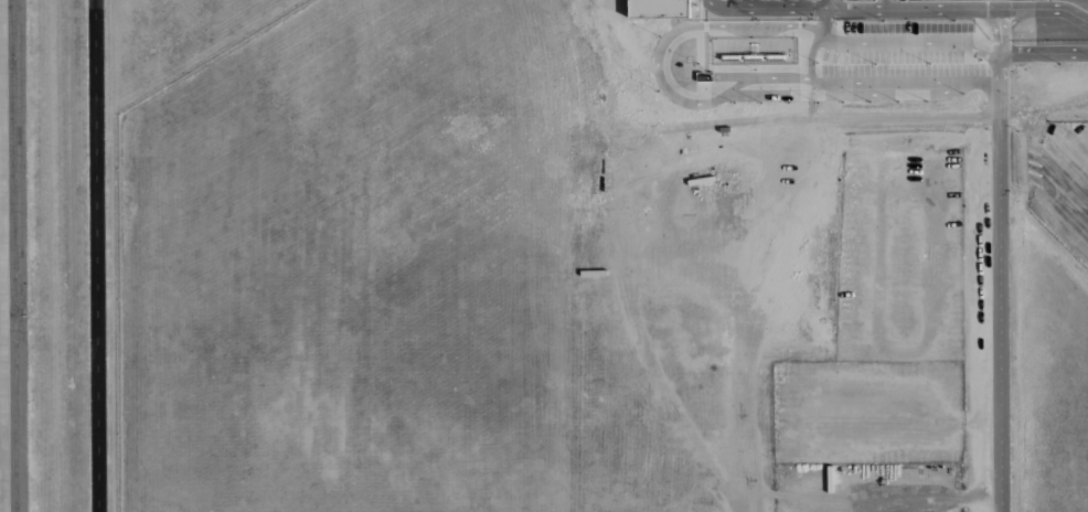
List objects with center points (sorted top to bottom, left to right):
road: (768, 8)
building: (655, 9)
road: (959, 9)
building: (917, 29)
road: (815, 44)
road: (1043, 54)
road: (657, 66)
airport: (481, 140)
road: (1017, 158)
building: (704, 233)
road: (96, 256)
road: (999, 259)

